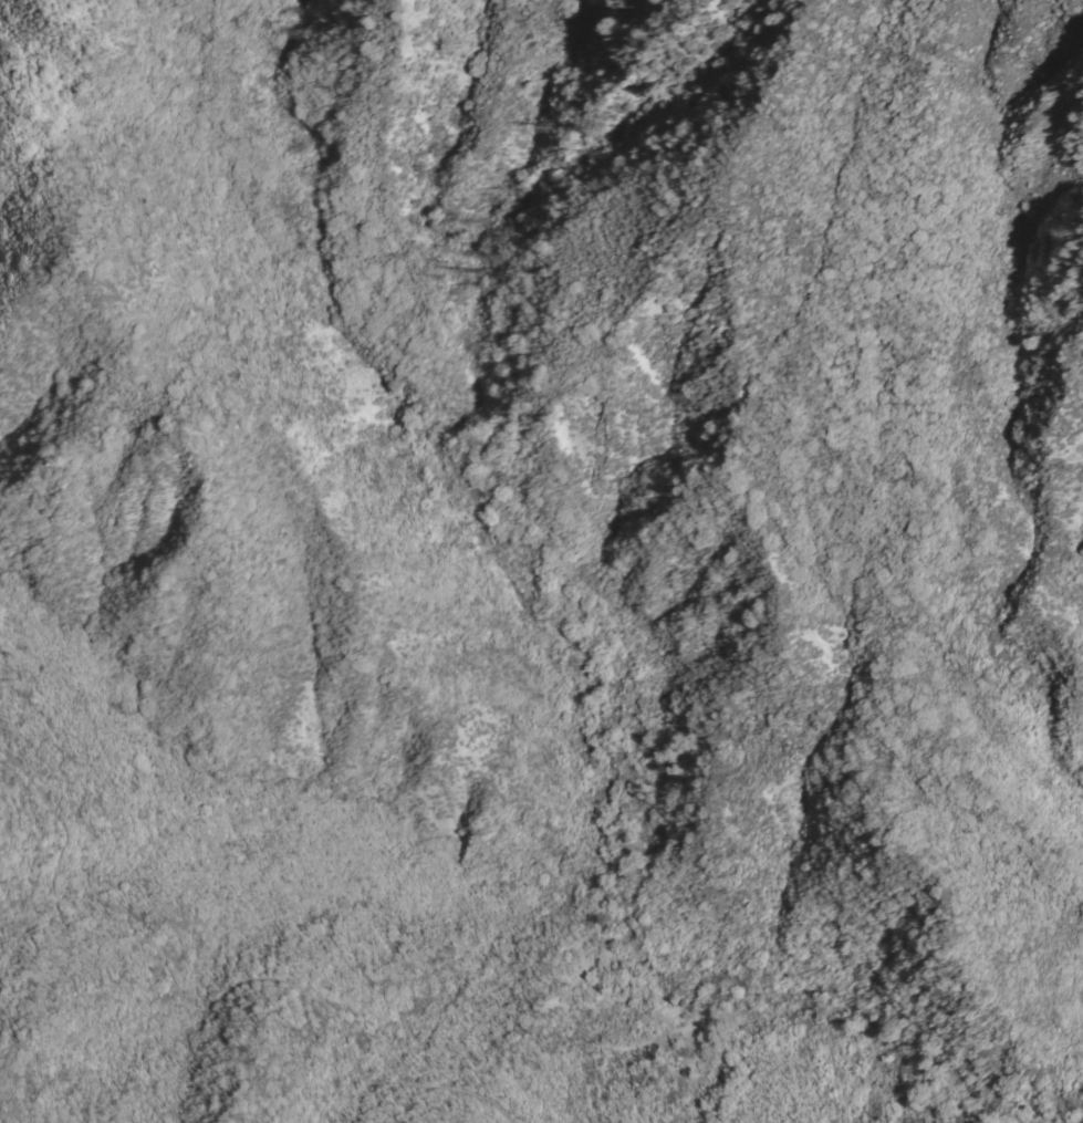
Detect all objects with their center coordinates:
road: (207, 996)

